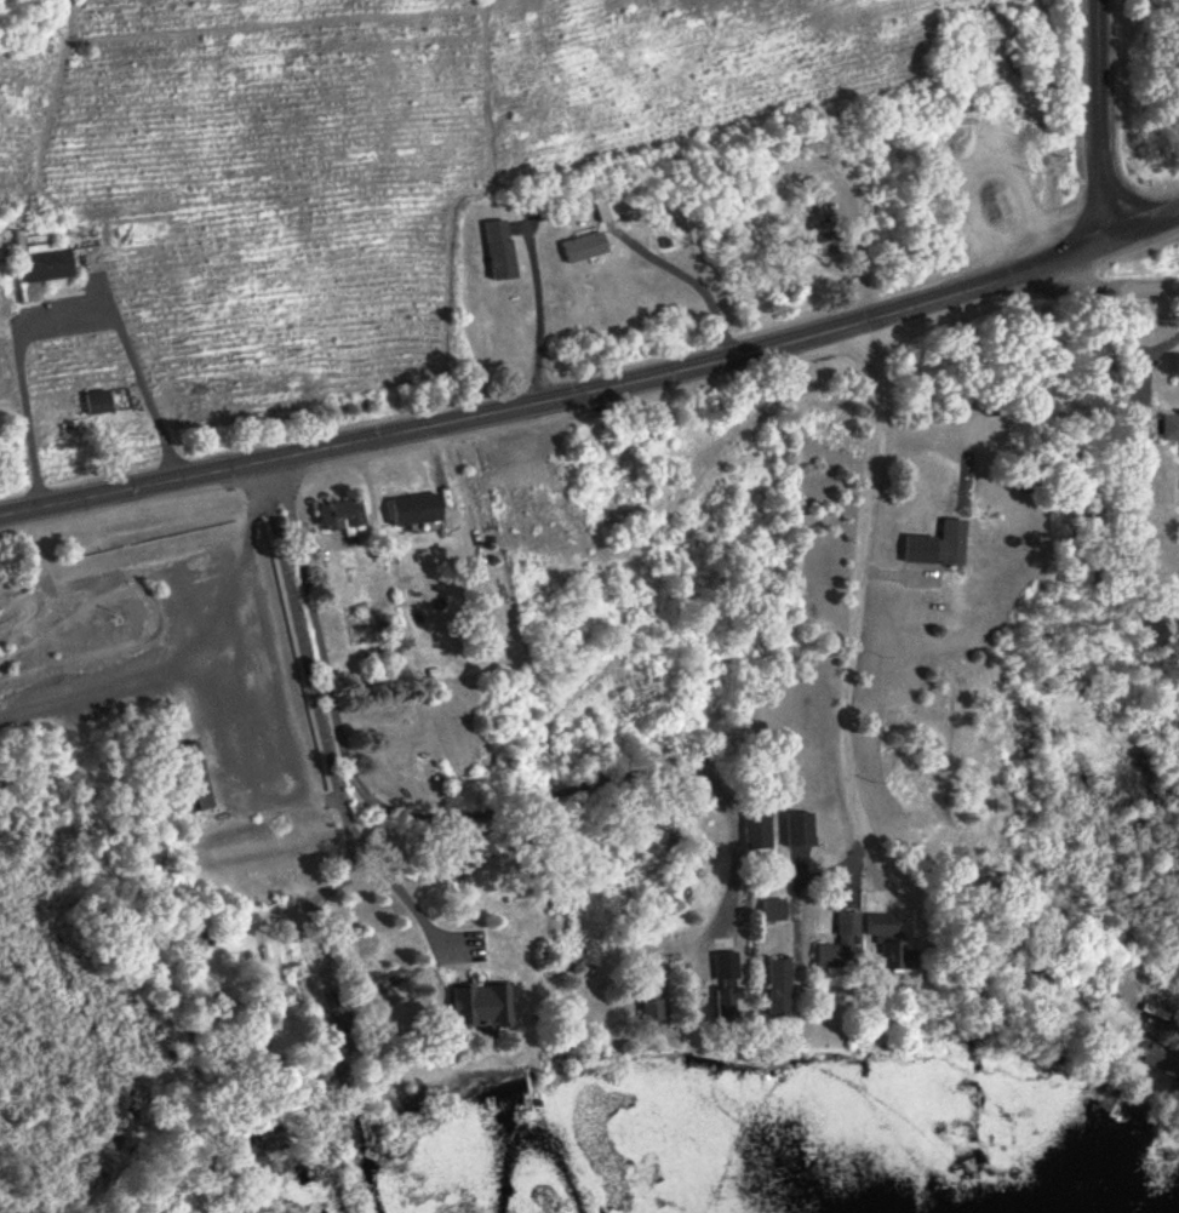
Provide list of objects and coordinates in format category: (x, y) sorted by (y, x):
road: (1094, 119)
building: (956, 217)
building: (823, 242)
road: (645, 245)
building: (582, 248)
building: (497, 251)
building: (40, 257)
road: (1093, 287)
road: (539, 307)
road: (61, 309)
road: (595, 382)
building: (95, 401)
building: (1132, 423)
building: (1167, 425)
building: (515, 500)
building: (407, 509)
building: (330, 514)
building: (946, 542)
road: (263, 642)
road: (319, 680)
road: (841, 755)
building: (184, 777)
road: (456, 825)
building: (796, 829)
building: (759, 830)
road: (405, 887)
building: (768, 910)
building: (883, 939)
building: (839, 945)
building: (725, 984)
building: (774, 990)
building: (642, 999)
building: (473, 1007)
building: (1155, 1054)

